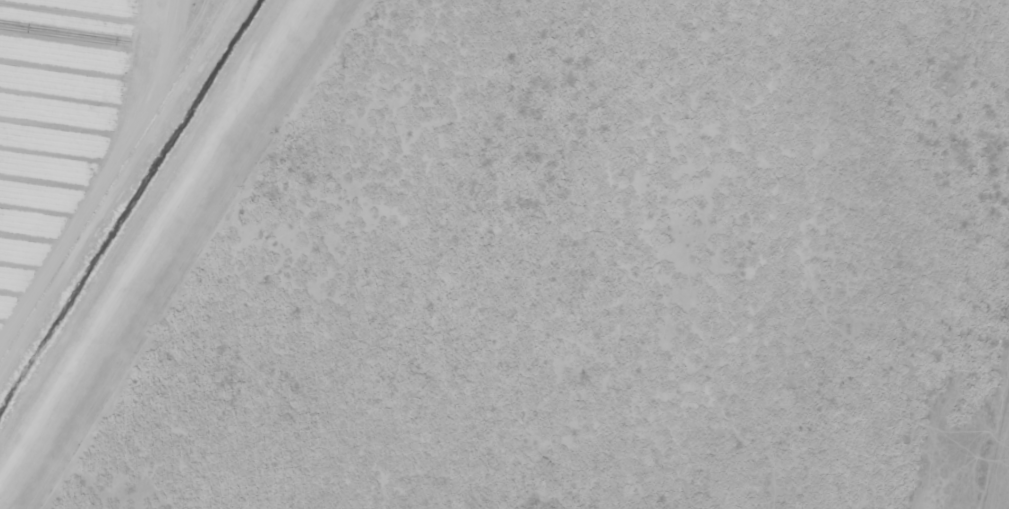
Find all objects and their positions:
road: (101, 173)

